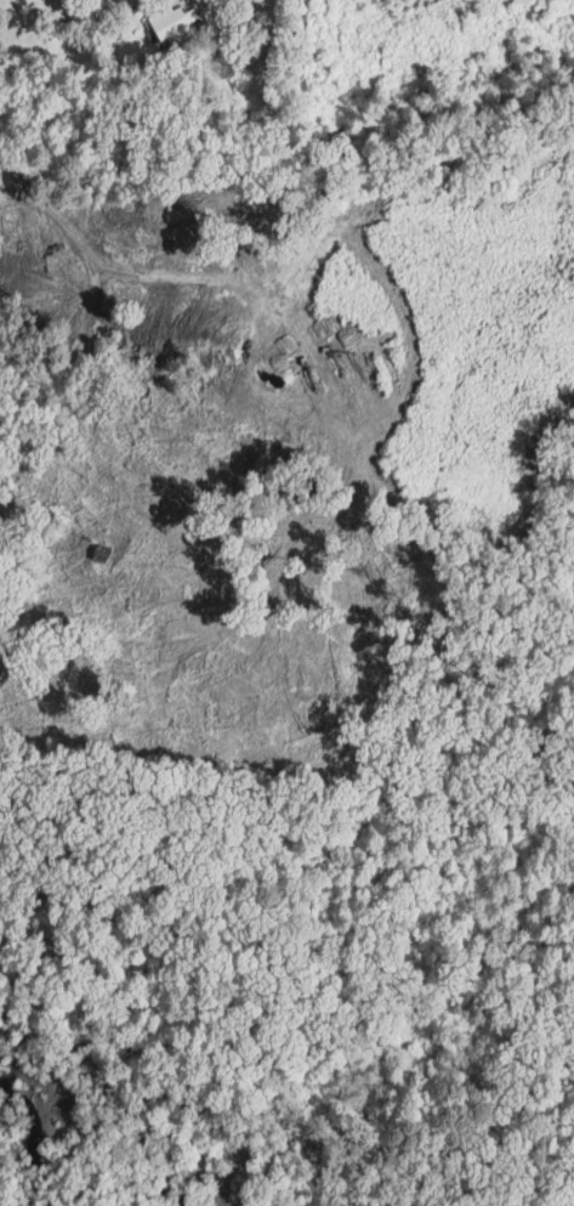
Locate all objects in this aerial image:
building: (172, 24)

